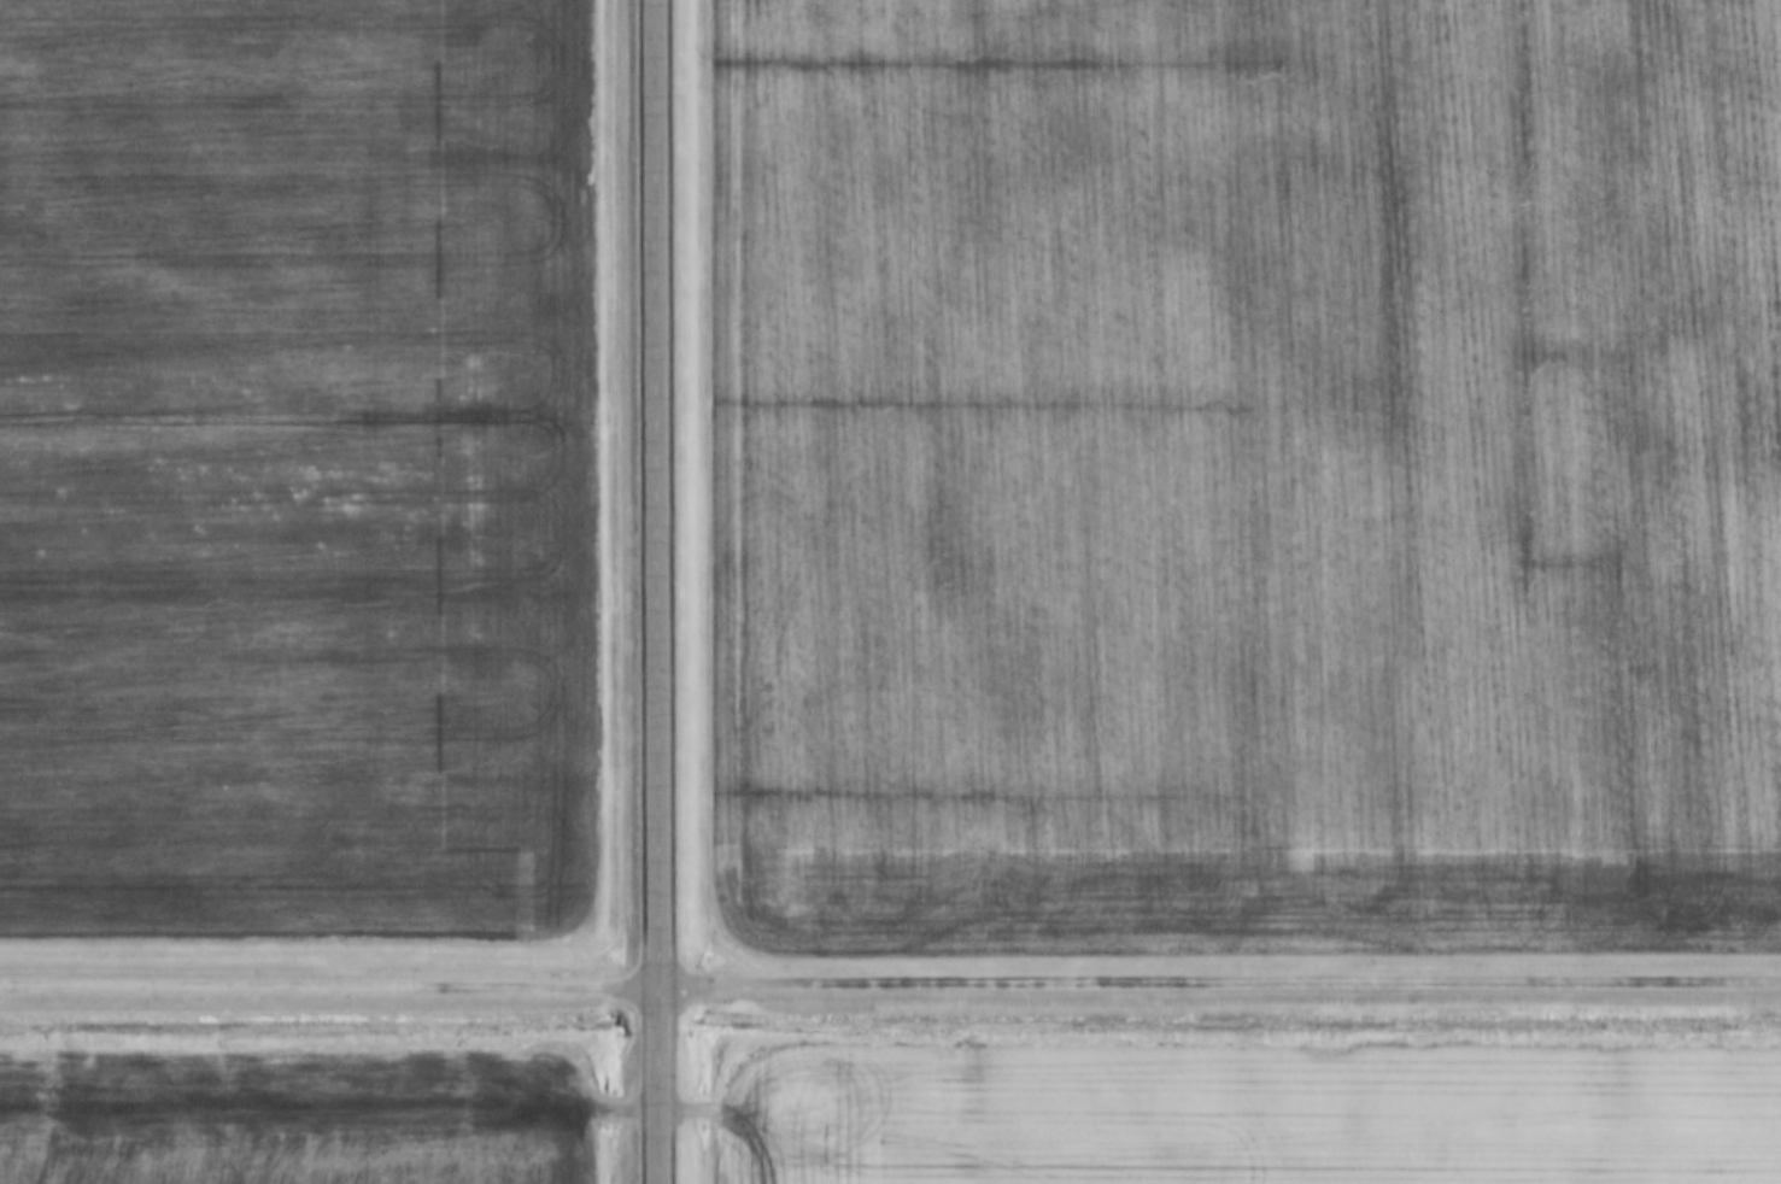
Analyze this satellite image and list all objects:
road: (662, 592)
road: (890, 984)

